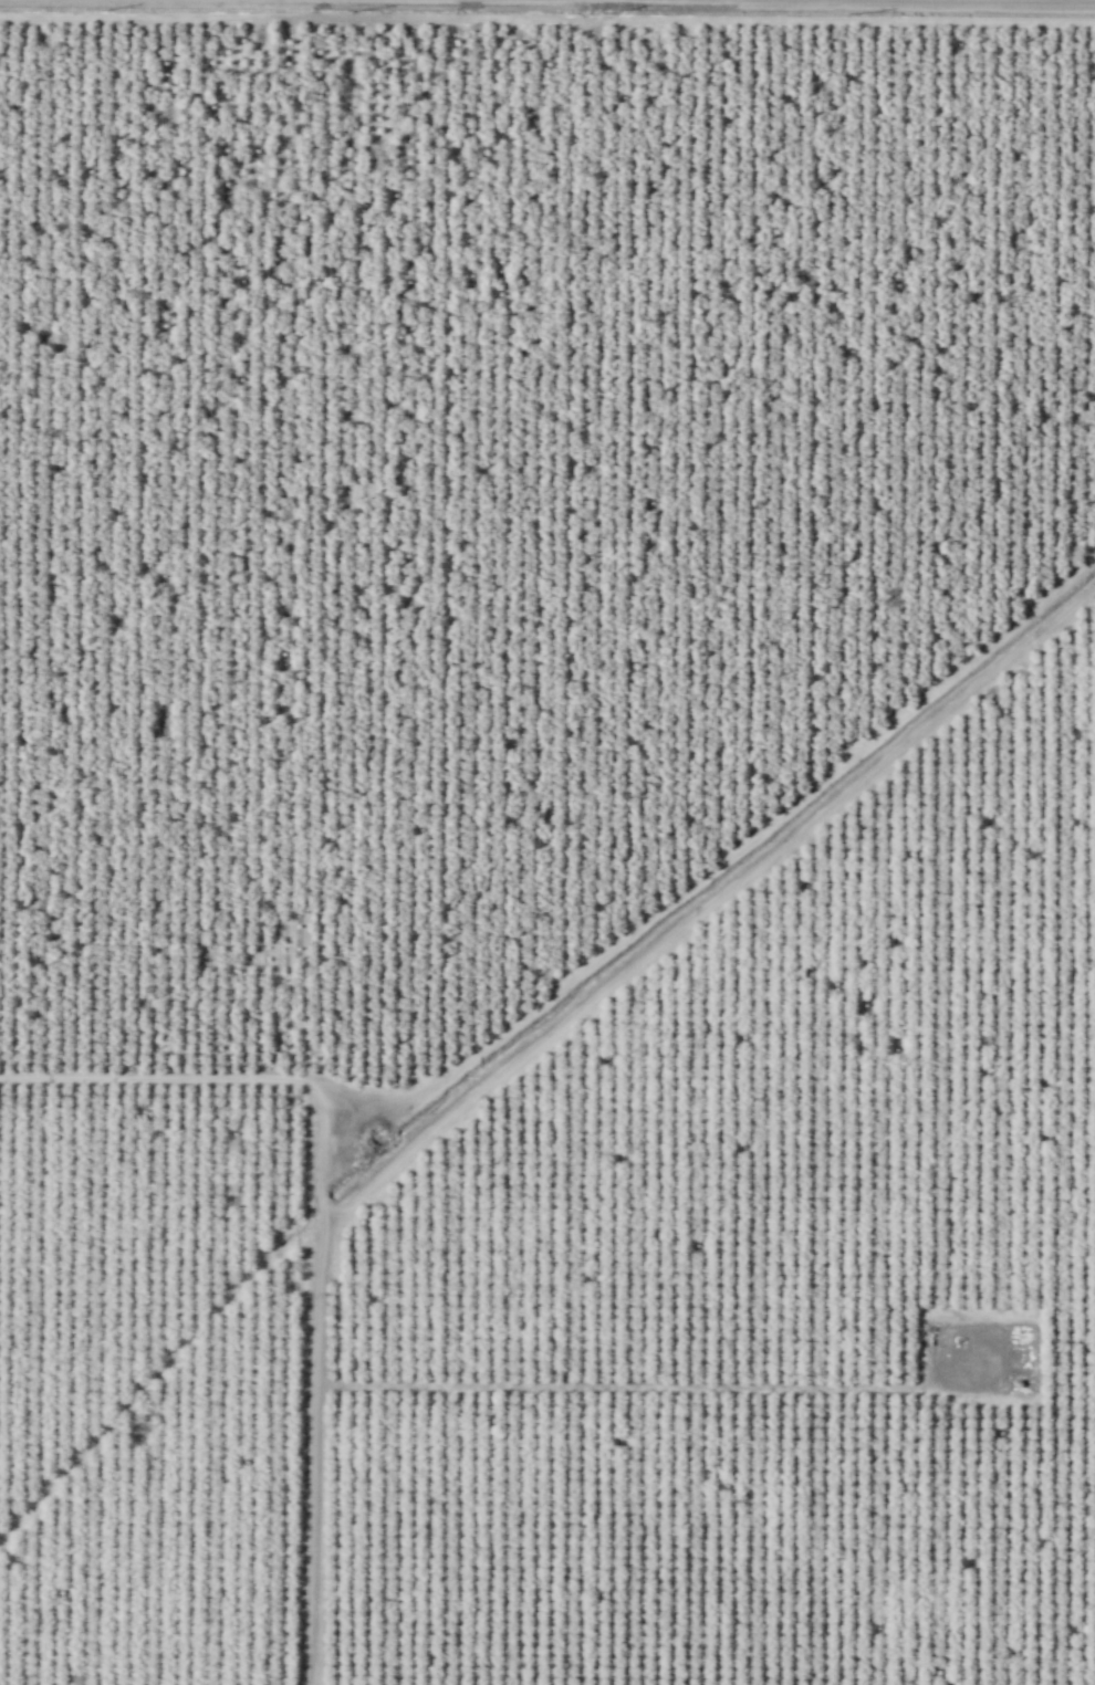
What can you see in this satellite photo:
road: (947, 1)
road: (547, 18)
road: (707, 906)
road: (321, 1227)
road: (156, 1380)
road: (813, 1386)

